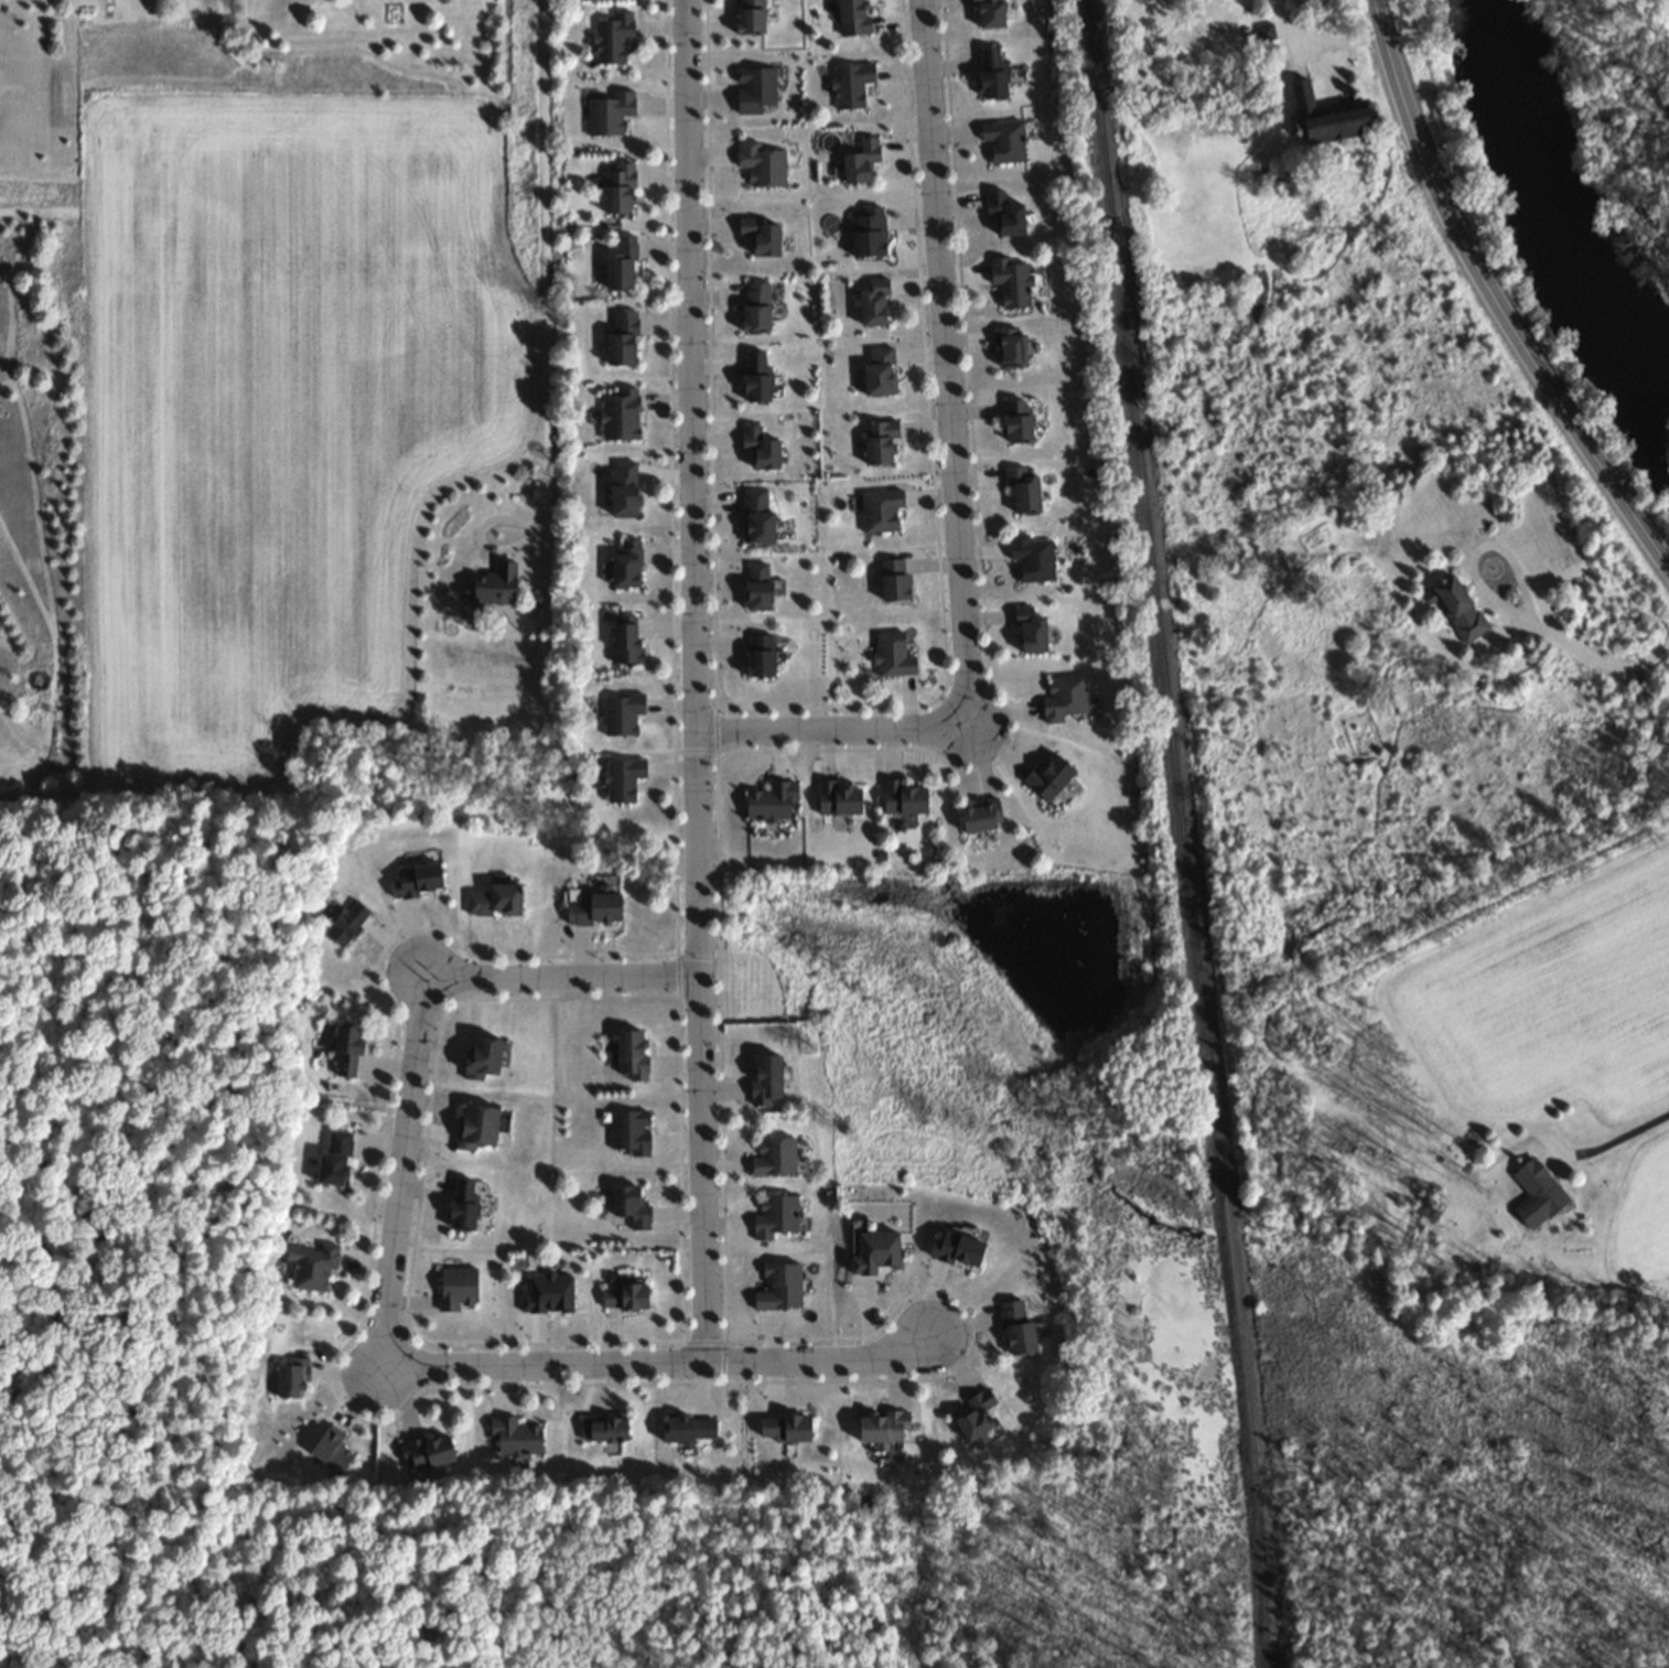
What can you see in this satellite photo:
building: (989, 14)
building: (750, 18)
building: (852, 18)
building: (1264, 34)
building: (612, 40)
building: (990, 75)
building: (850, 87)
building: (754, 92)
building: (1302, 99)
building: (609, 115)
building: (1337, 127)
building: (1003, 142)
building: (860, 163)
building: (761, 166)
building: (618, 191)
building: (1004, 215)
river: (1572, 230)
building: (868, 235)
building: (761, 237)
building: (621, 267)
road: (542, 276)
building: (1010, 283)
road: (1486, 303)
building: (873, 305)
building: (755, 309)
building: (622, 341)
building: (1011, 349)
road: (943, 363)
building: (879, 374)
building: (755, 379)
building: (620, 417)
building: (1016, 423)
crop: (277, 427)
building: (880, 445)
building: (760, 450)
building: (623, 491)
building: (1022, 492)
building: (880, 513)
building: (757, 519)
road: (1477, 548)
building: (1032, 560)
building: (625, 568)
building: (894, 583)
building: (495, 588)
building: (756, 590)
building: (1458, 611)
building: (1030, 634)
building: (624, 642)
building: (758, 658)
building: (892, 658)
road: (1595, 664)
road: (691, 680)
building: (1064, 701)
building: (621, 714)
road: (830, 728)
building: (1047, 777)
building: (622, 779)
building: (903, 798)
building: (839, 799)
building: (771, 803)
building: (980, 817)
railway: (1176, 833)
building: (416, 880)
building: (494, 901)
building: (594, 910)
building: (346, 924)
road: (559, 973)
building: (346, 1052)
building: (631, 1055)
building: (482, 1057)
building: (766, 1079)
road: (354, 1105)
building: (476, 1127)
building: (629, 1132)
road: (1615, 1138)
building: (774, 1158)
building: (333, 1160)
road: (399, 1166)
building: (1536, 1194)
building: (462, 1204)
building: (629, 1206)
building: (775, 1217)
building: (957, 1249)
building: (873, 1252)
building: (312, 1267)
building: (456, 1289)
building: (778, 1289)
building: (547, 1293)
building: (624, 1296)
building: (1016, 1330)
road: (655, 1360)
building: (290, 1379)
building: (976, 1416)
building: (603, 1428)
building: (688, 1429)
building: (785, 1429)
building: (882, 1429)
building: (515, 1438)
building: (331, 1451)
building: (427, 1453)

